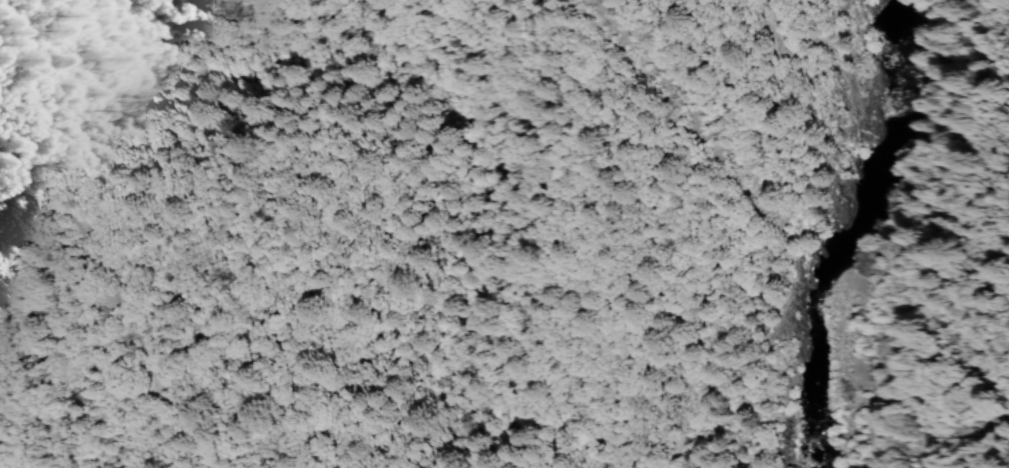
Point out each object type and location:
river: (898, 75)
river: (822, 302)

